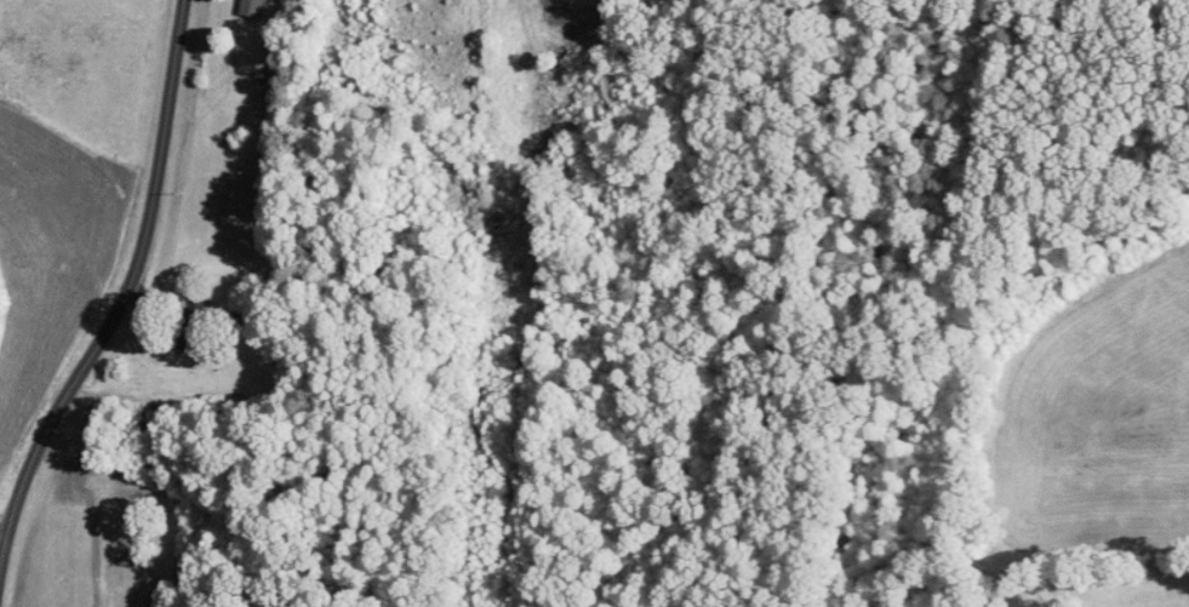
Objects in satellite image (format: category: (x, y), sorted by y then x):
road: (519, 1)
building: (251, 7)
road: (147, 271)
building: (189, 330)

